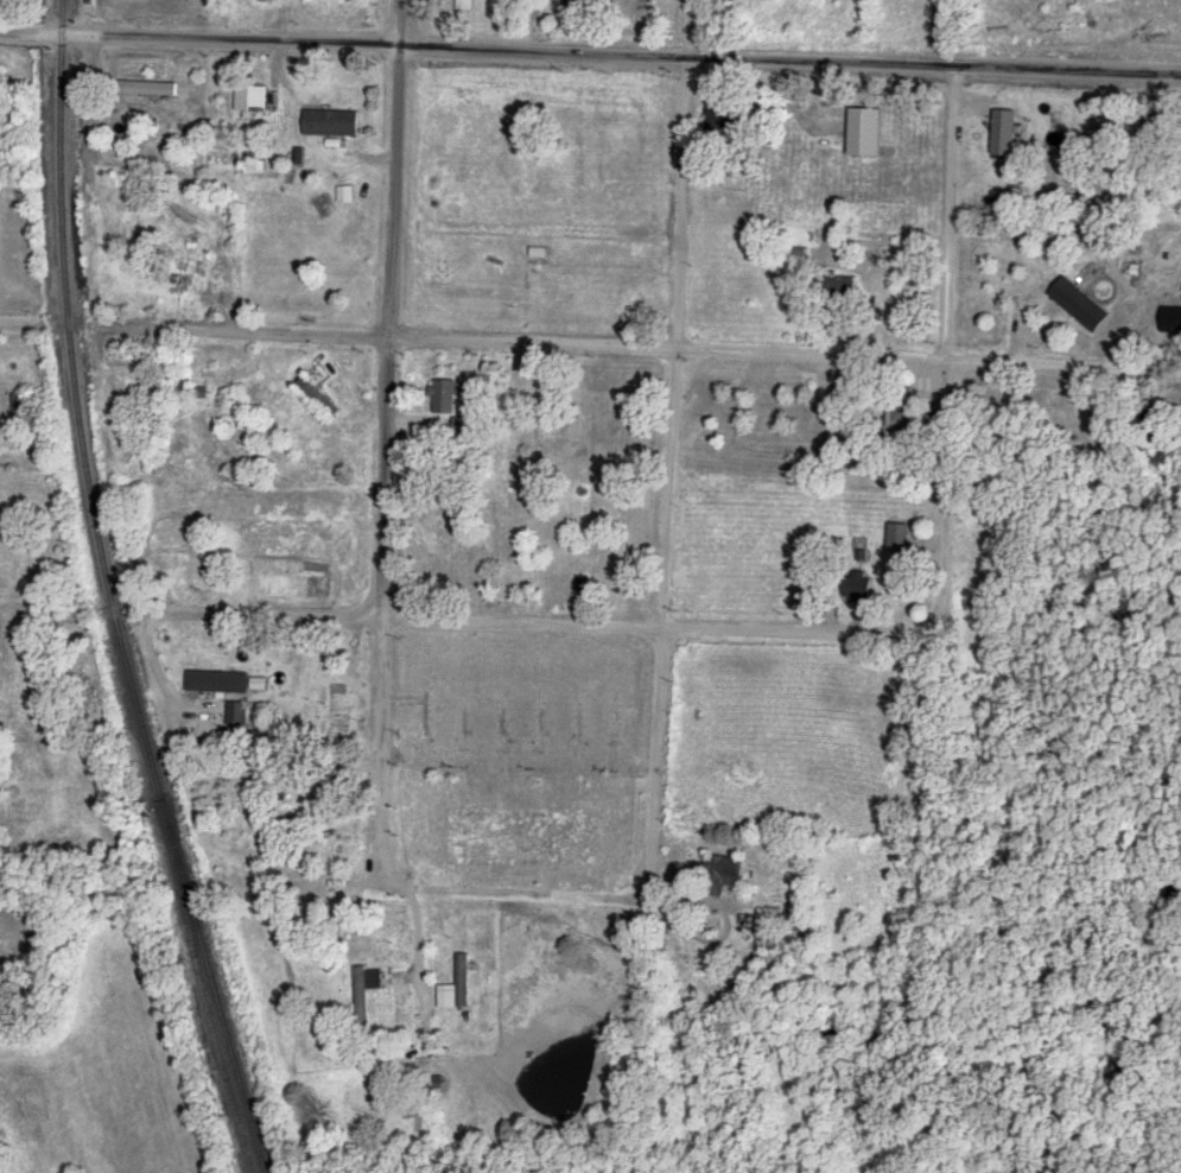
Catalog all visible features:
building: (319, 0)
building: (461, 5)
building: (573, 8)
road: (590, 50)
building: (147, 88)
building: (252, 99)
building: (331, 123)
building: (719, 123)
building: (866, 133)
building: (1004, 133)
building: (140, 211)
building: (221, 223)
building: (179, 274)
building: (843, 290)
building: (915, 298)
building: (1079, 305)
building: (1169, 321)
road: (20, 322)
road: (630, 345)
road: (952, 349)
building: (318, 397)
building: (443, 397)
building: (20, 404)
building: (900, 413)
building: (261, 432)
road: (382, 435)
road: (669, 450)
building: (899, 537)
building: (858, 585)
railway: (108, 595)
road: (40, 607)
road: (536, 621)
building: (231, 683)
building: (260, 685)
building: (236, 714)
building: (426, 717)
building: (464, 719)
building: (725, 870)
road: (61, 883)
road: (684, 901)
road: (415, 924)
building: (768, 928)
building: (458, 988)
building: (366, 993)
railway: (202, 994)

